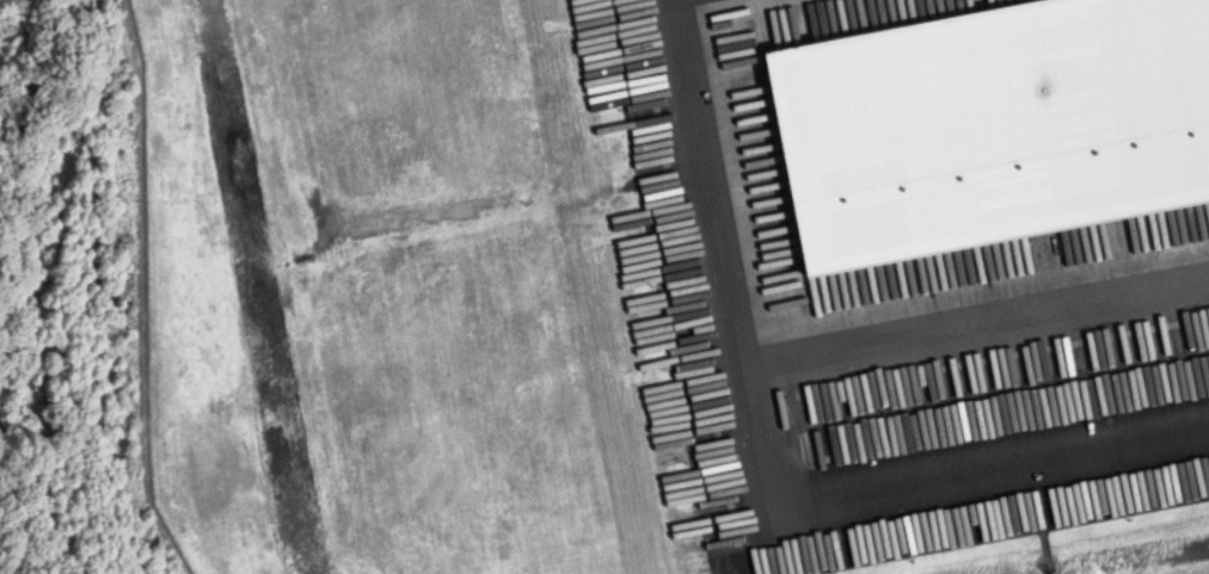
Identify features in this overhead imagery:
building: (993, 131)
road: (712, 185)
road: (977, 326)
road: (927, 480)

